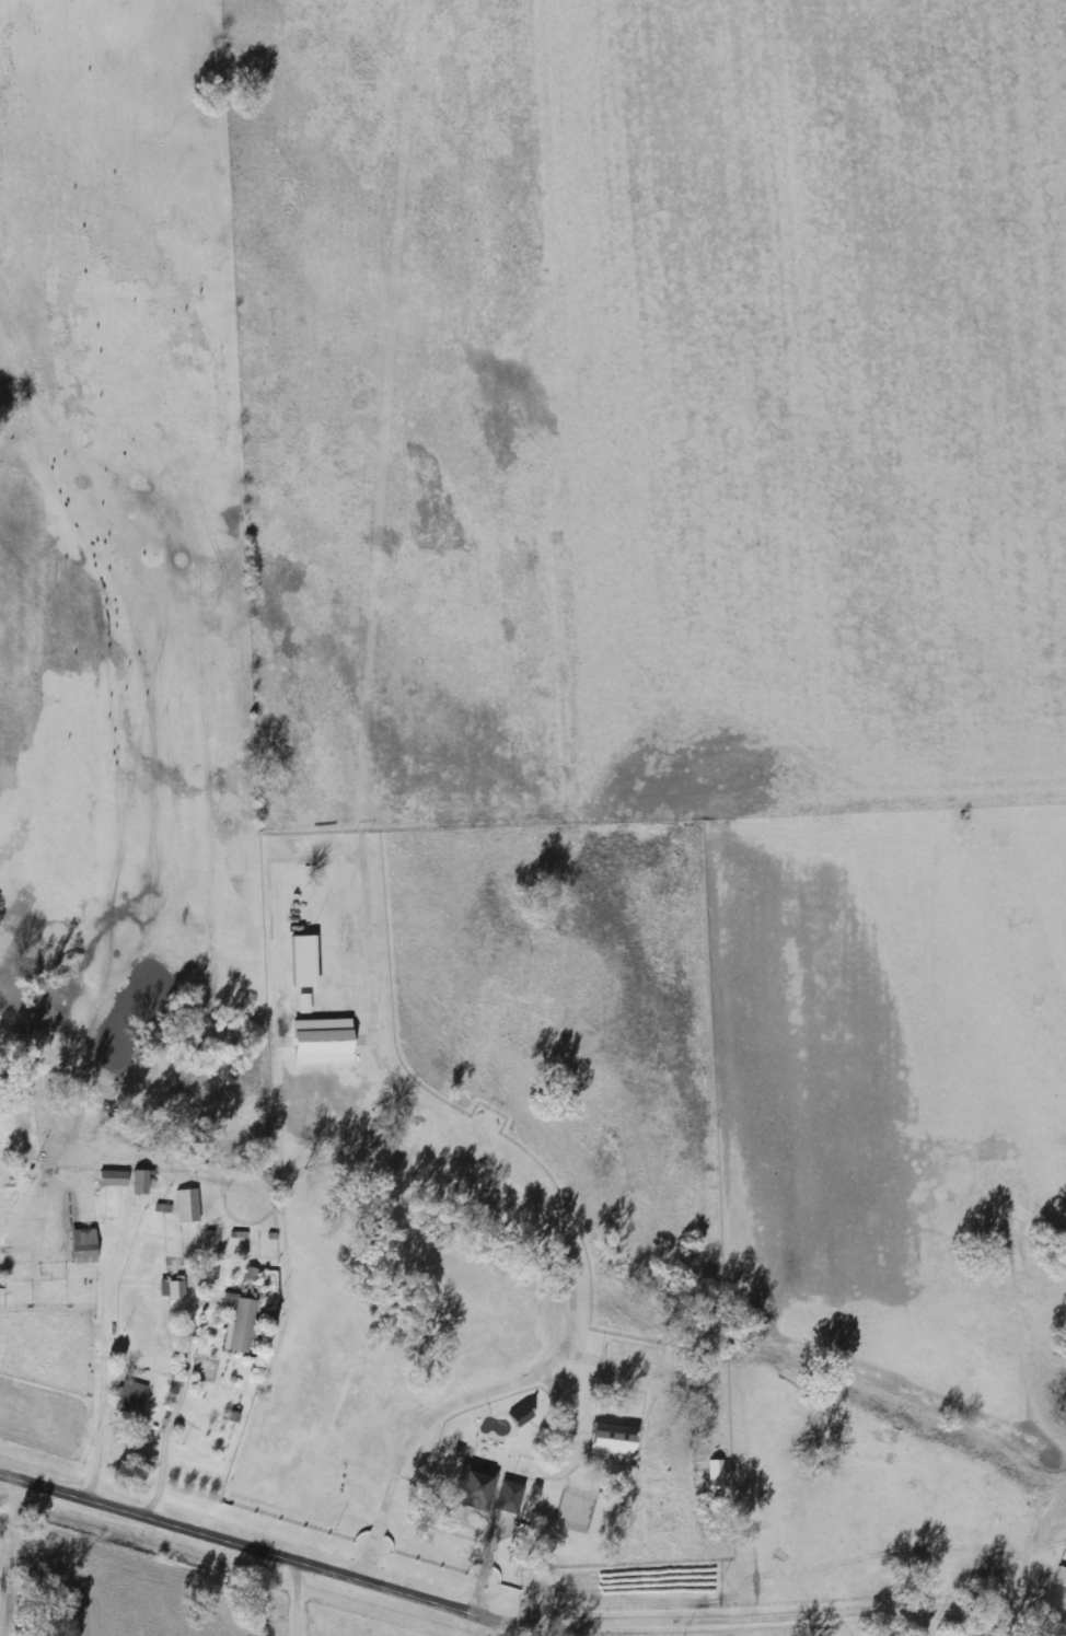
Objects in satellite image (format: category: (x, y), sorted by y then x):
road: (208, 756)
building: (114, 1179)
building: (142, 1183)
building: (188, 1207)
building: (85, 1246)
building: (177, 1290)
building: (243, 1325)
building: (131, 1400)
building: (509, 1487)
road: (247, 1543)
road: (708, 1605)

